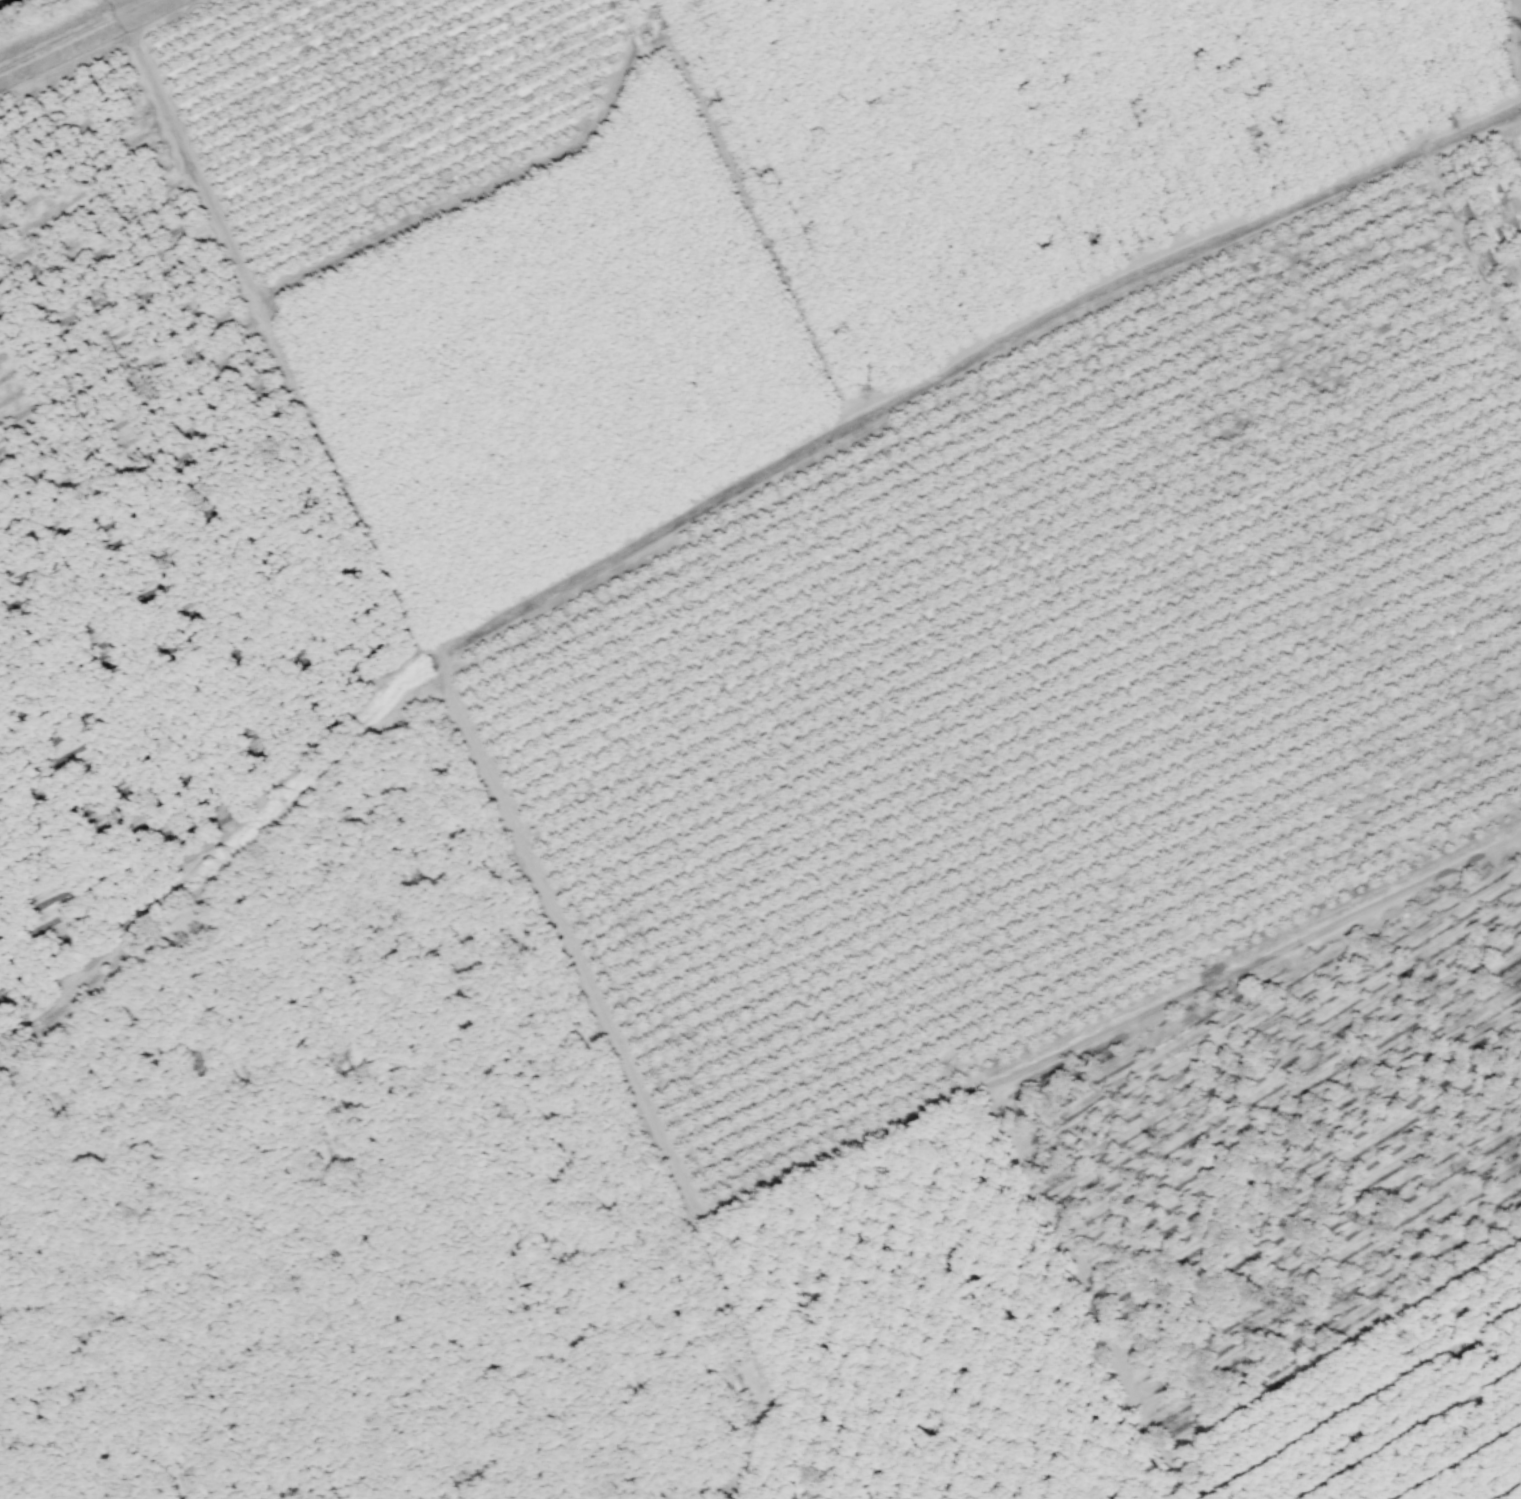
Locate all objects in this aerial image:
road: (159, 864)

